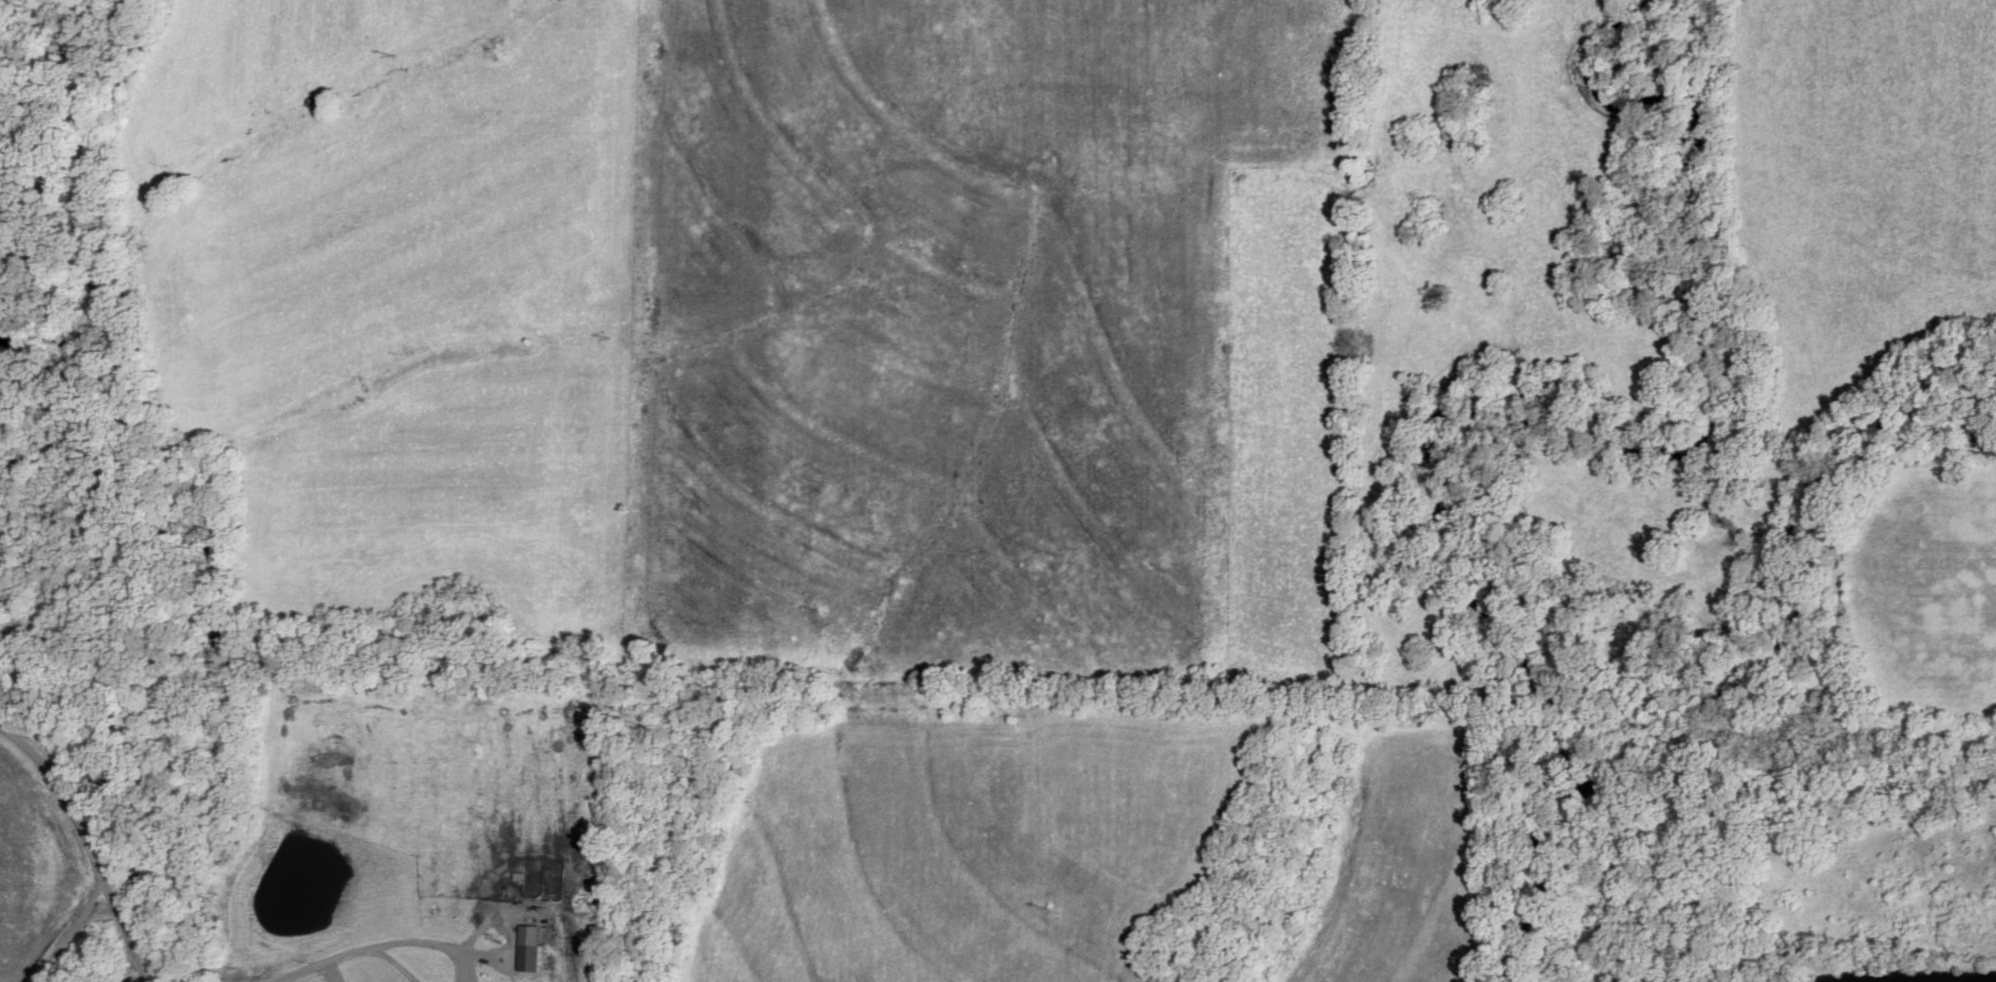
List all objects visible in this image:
crop: (942, 318)
road: (82, 847)
road: (422, 951)
building: (533, 956)
road: (386, 965)
road: (332, 969)

